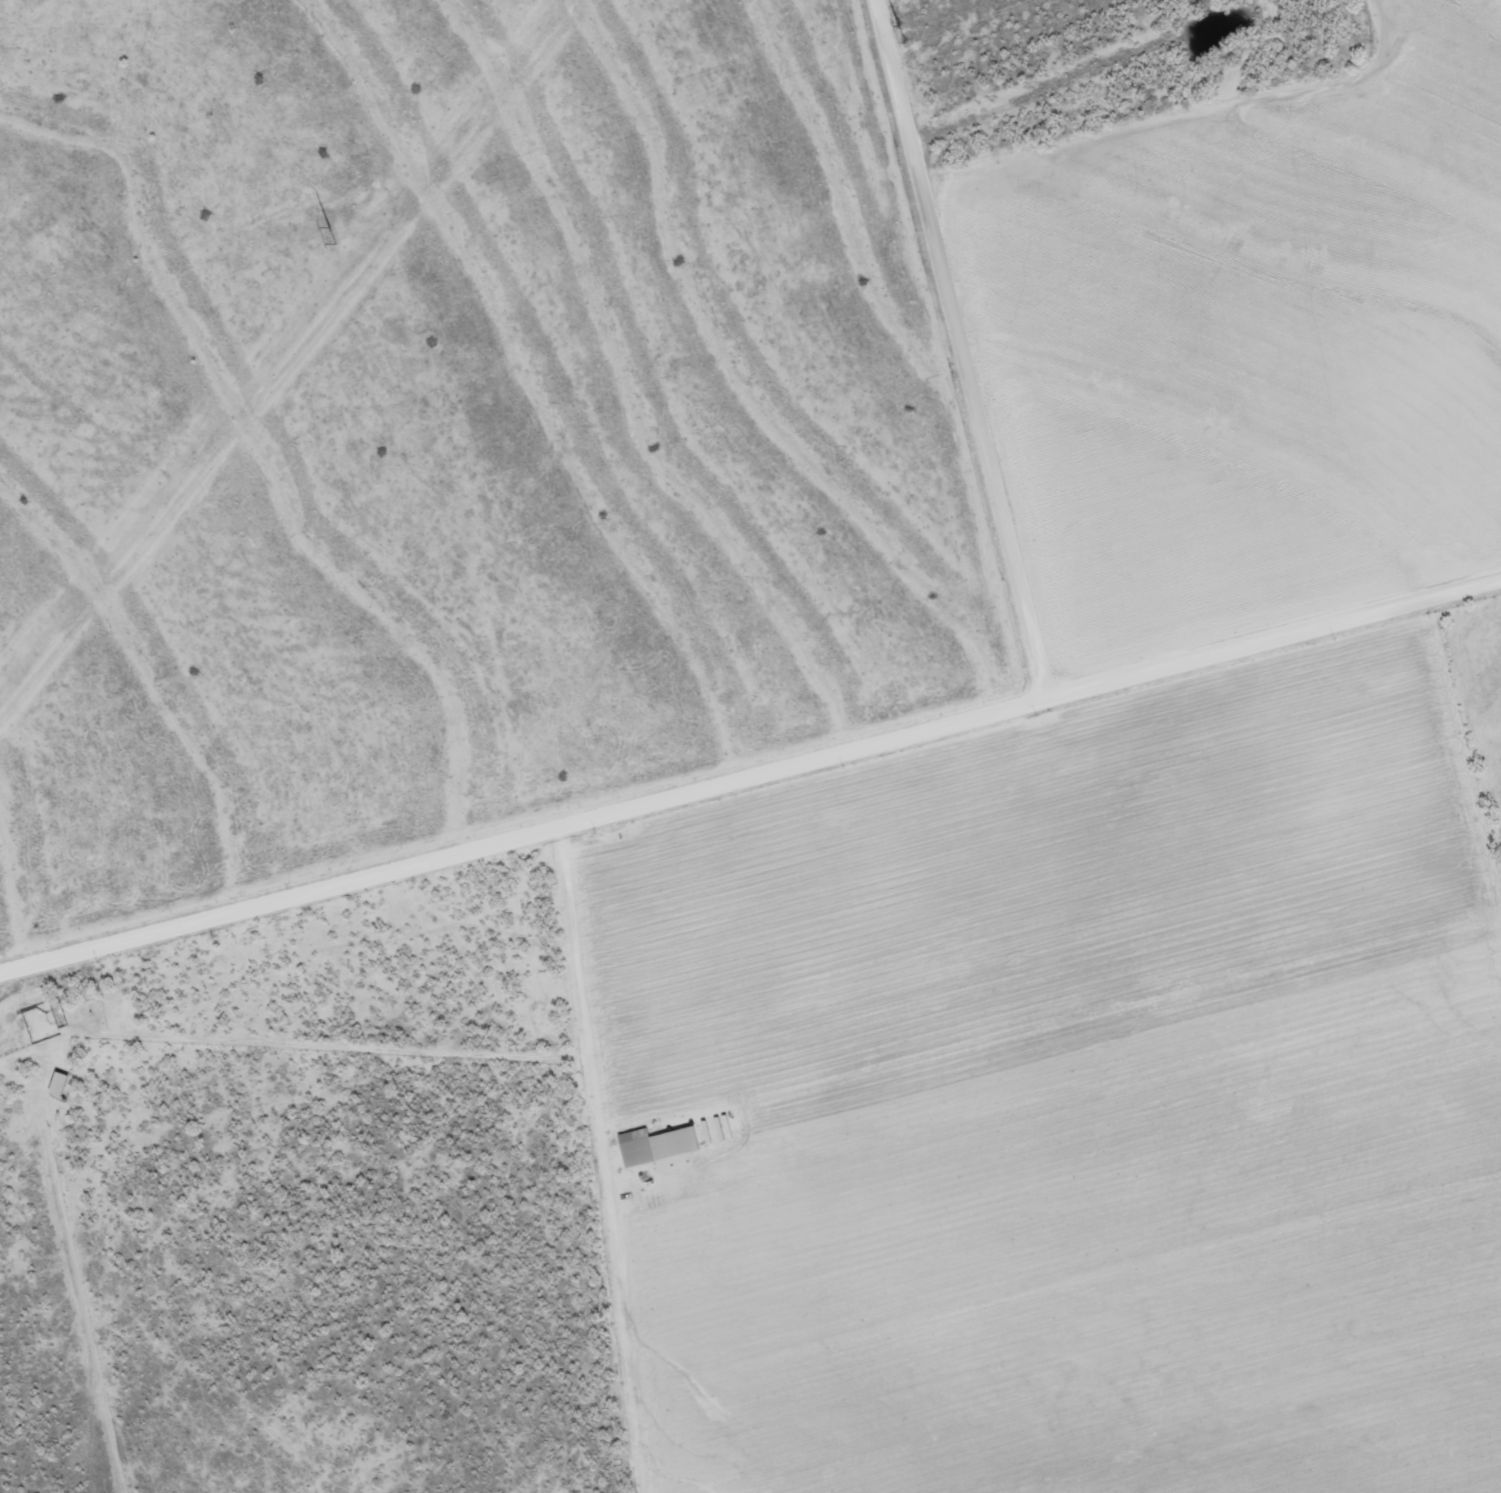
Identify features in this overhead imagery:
power tower: (900, 35)
power tower: (334, 236)
road: (949, 354)
road: (748, 787)
building: (636, 1148)

